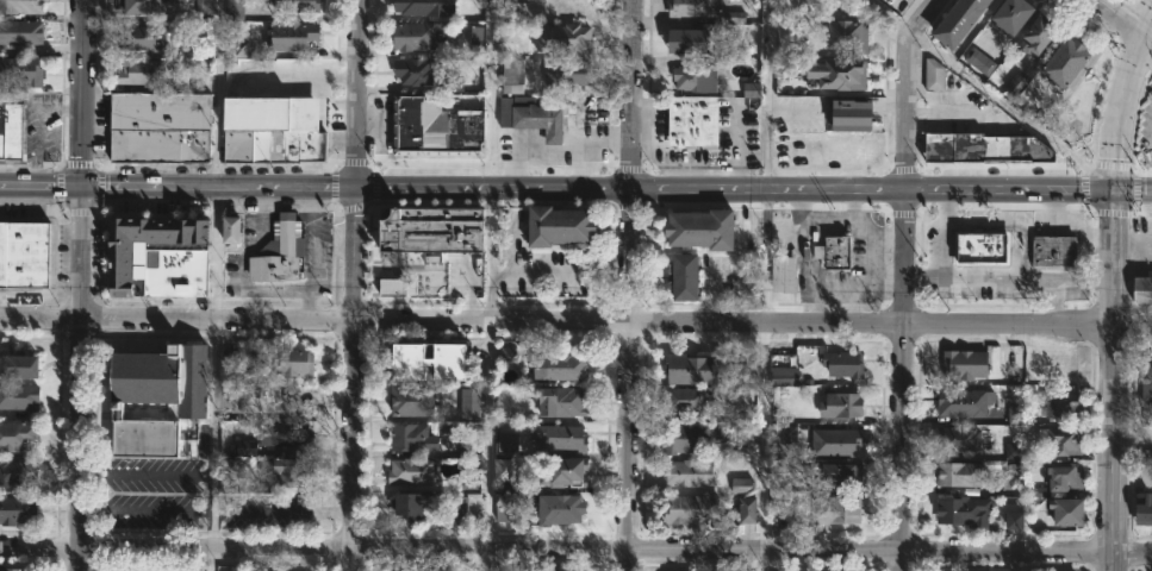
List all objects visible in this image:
building: (516, 1)
building: (295, 6)
building: (21, 7)
building: (138, 7)
building: (415, 7)
building: (204, 10)
building: (235, 10)
building: (692, 10)
building: (1015, 13)
road: (1123, 15)
building: (959, 21)
traffic signals: (1144, 31)
building: (20, 33)
building: (1040, 33)
road: (1147, 33)
building: (477, 34)
building: (412, 36)
building: (848, 36)
building: (294, 37)
building: (138, 38)
building: (524, 39)
building: (572, 40)
building: (689, 40)
building: (237, 50)
building: (980, 59)
building: (1067, 59)
building: (565, 69)
building: (21, 71)
building: (415, 71)
building: (142, 73)
building: (513, 75)
building: (843, 75)
building: (935, 75)
building: (700, 76)
road: (297, 79)
building: (1015, 83)
building: (751, 89)
road: (218, 94)
road: (491, 95)
road: (772, 95)
road: (990, 96)
building: (505, 112)
building: (542, 117)
building: (847, 117)
building: (696, 119)
building: (436, 126)
building: (161, 127)
building: (273, 128)
building: (12, 134)
building: (986, 146)
road: (41, 188)
traffic signals: (82, 188)
road: (130, 188)
road: (665, 193)
traffic signals: (1114, 195)
road: (1014, 218)
building: (561, 226)
building: (704, 227)
road: (1063, 227)
building: (434, 228)
building: (232, 230)
road: (942, 236)
road: (1132, 240)
building: (984, 247)
building: (1057, 249)
building: (835, 251)
building: (24, 252)
building: (160, 256)
building: (279, 257)
building: (785, 274)
building: (686, 275)
road: (1000, 278)
road: (903, 281)
road: (355, 284)
road: (630, 284)
road: (81, 285)
building: (393, 285)
building: (1144, 288)
road: (1110, 290)
road: (575, 322)
building: (507, 353)
building: (431, 359)
building: (297, 362)
building: (747, 362)
building: (843, 363)
building: (967, 364)
building: (563, 366)
building: (19, 368)
building: (692, 369)
building: (785, 375)
building: (1147, 379)
road: (762, 382)
building: (19, 396)
building: (156, 396)
building: (687, 399)
building: (415, 400)
building: (563, 400)
building: (967, 402)
building: (471, 403)
building: (842, 404)
building: (1063, 404)
building: (172, 412)
building: (1015, 415)
building: (18, 434)
road: (212, 434)
building: (278, 435)
building: (412, 437)
building: (565, 437)
building: (689, 438)
building: (959, 439)
building: (1063, 440)
building: (507, 441)
building: (836, 441)
road: (1131, 443)
road: (488, 446)
building: (1014, 450)
building: (505, 469)
building: (231, 470)
building: (293, 471)
building: (411, 471)
building: (563, 471)
building: (17, 472)
building: (689, 472)
building: (845, 473)
building: (961, 473)
road: (144, 475)
building: (1065, 475)
building: (741, 485)
building: (412, 504)
building: (17, 508)
building: (561, 508)
building: (693, 508)
building: (1145, 508)
building: (505, 509)
building: (748, 509)
building: (837, 509)
building: (965, 510)
road: (144, 512)
building: (457, 512)
building: (1070, 513)
building: (1014, 520)
road: (575, 550)
road: (211, 559)
building: (13, 569)
building: (413, 569)
building: (500, 570)
building: (747, 570)

